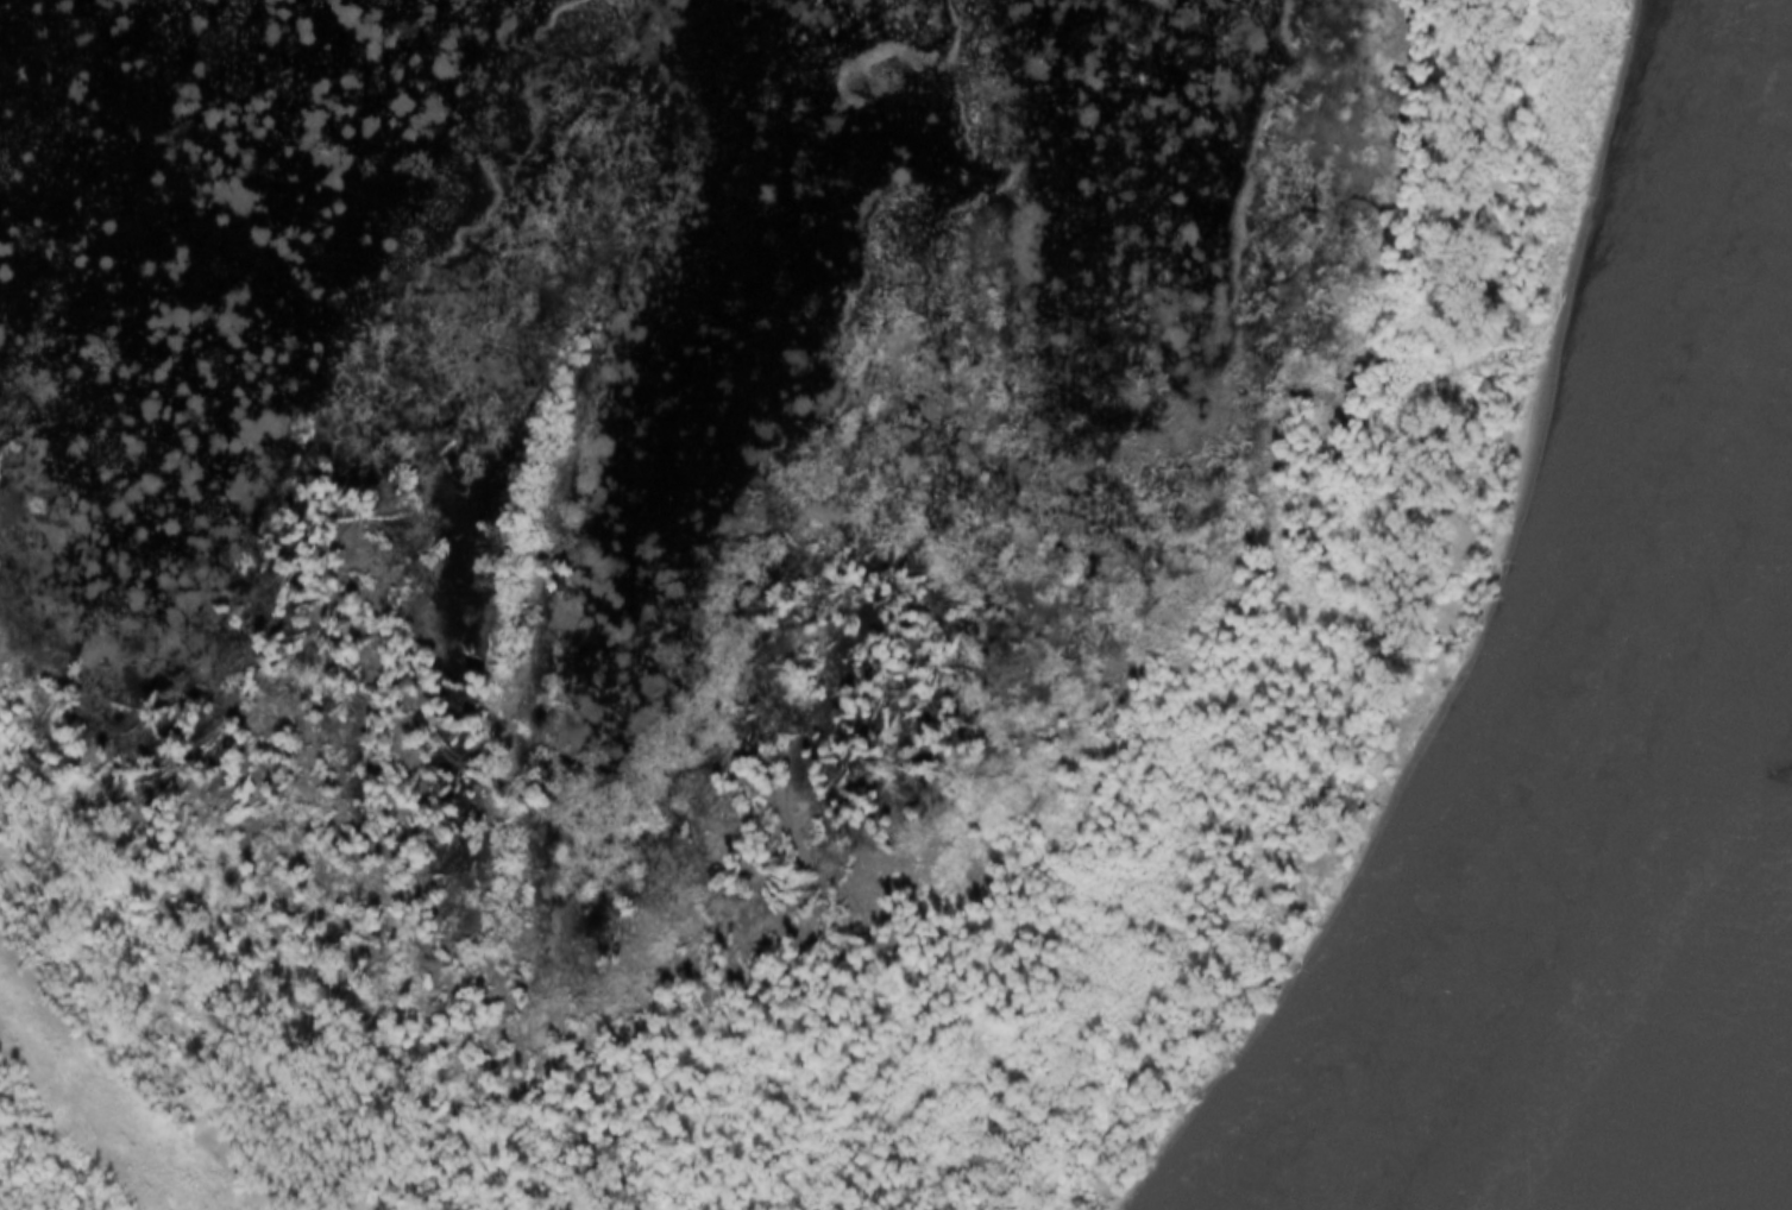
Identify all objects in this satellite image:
river: (1671, 929)

